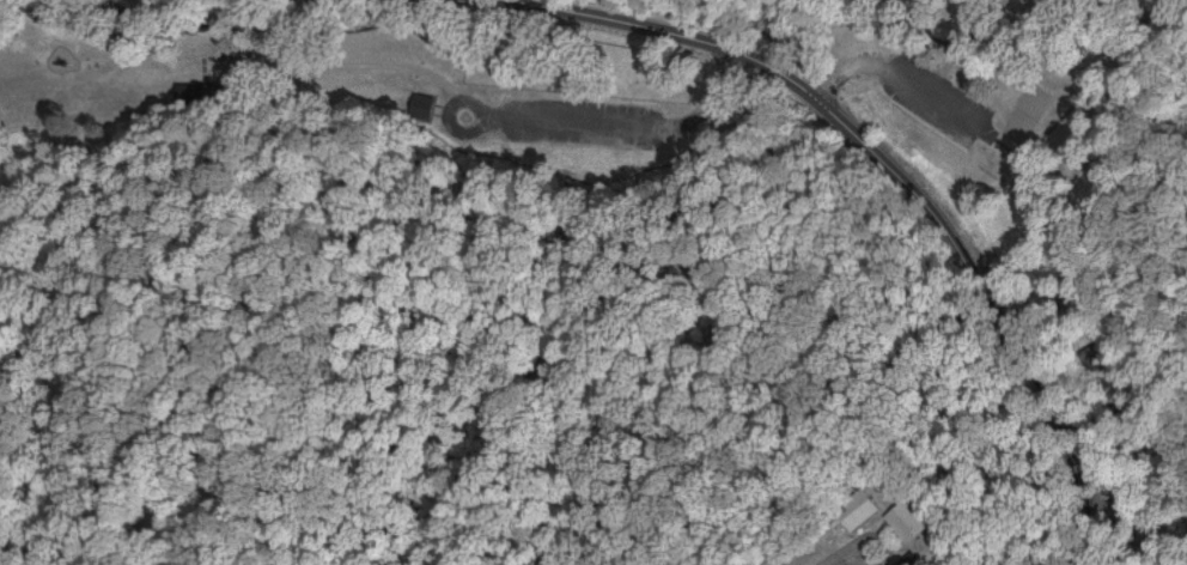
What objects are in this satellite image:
road: (699, 40)
road: (923, 56)
road: (386, 77)
road: (1005, 317)
building: (859, 508)
building: (911, 522)
building: (890, 536)
road: (869, 560)

